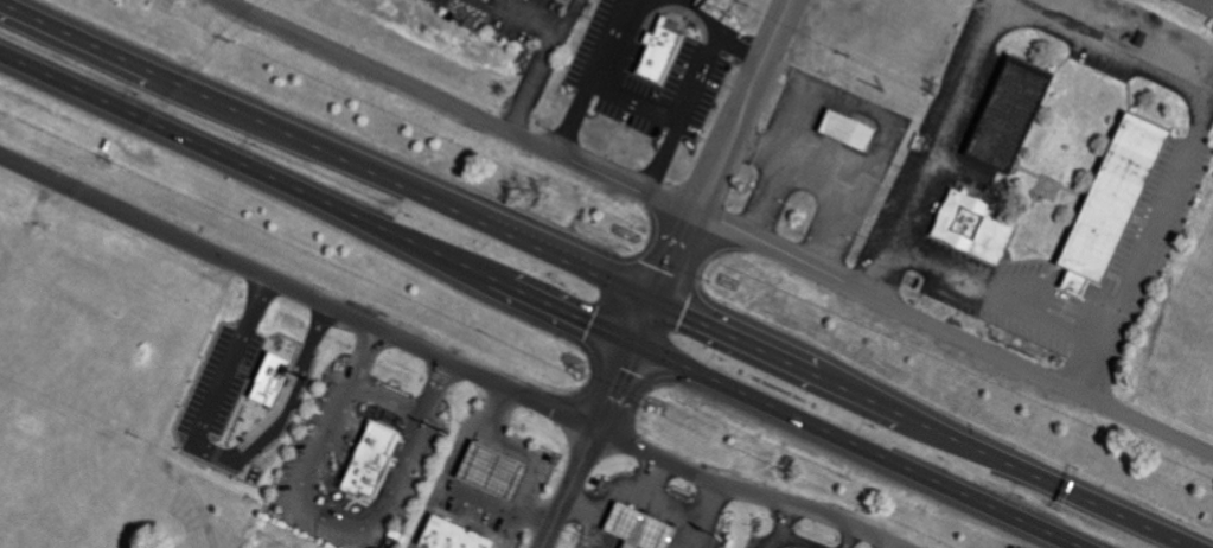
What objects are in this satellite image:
building: (553, 0)
building: (567, 0)
road: (515, 17)
road: (716, 31)
road: (1109, 47)
building: (656, 53)
road: (542, 65)
road: (594, 75)
road: (455, 108)
road: (681, 113)
building: (1024, 115)
building: (843, 130)
road: (326, 155)
road: (317, 197)
building: (1130, 199)
building: (1103, 203)
building: (989, 228)
road: (666, 274)
road: (298, 289)
traffic signals: (653, 302)
road: (952, 334)
traffic signals: (633, 345)
road: (387, 400)
road: (912, 427)
road: (857, 446)
building: (365, 459)
building: (485, 470)
road: (651, 480)
road: (746, 491)
road: (708, 504)
road: (662, 509)
road: (605, 510)
road: (537, 511)
road: (472, 518)
road: (328, 521)
road: (427, 525)
road: (780, 525)
building: (631, 528)
building: (445, 535)
road: (849, 537)
road: (798, 539)
road: (504, 541)
road: (882, 544)

